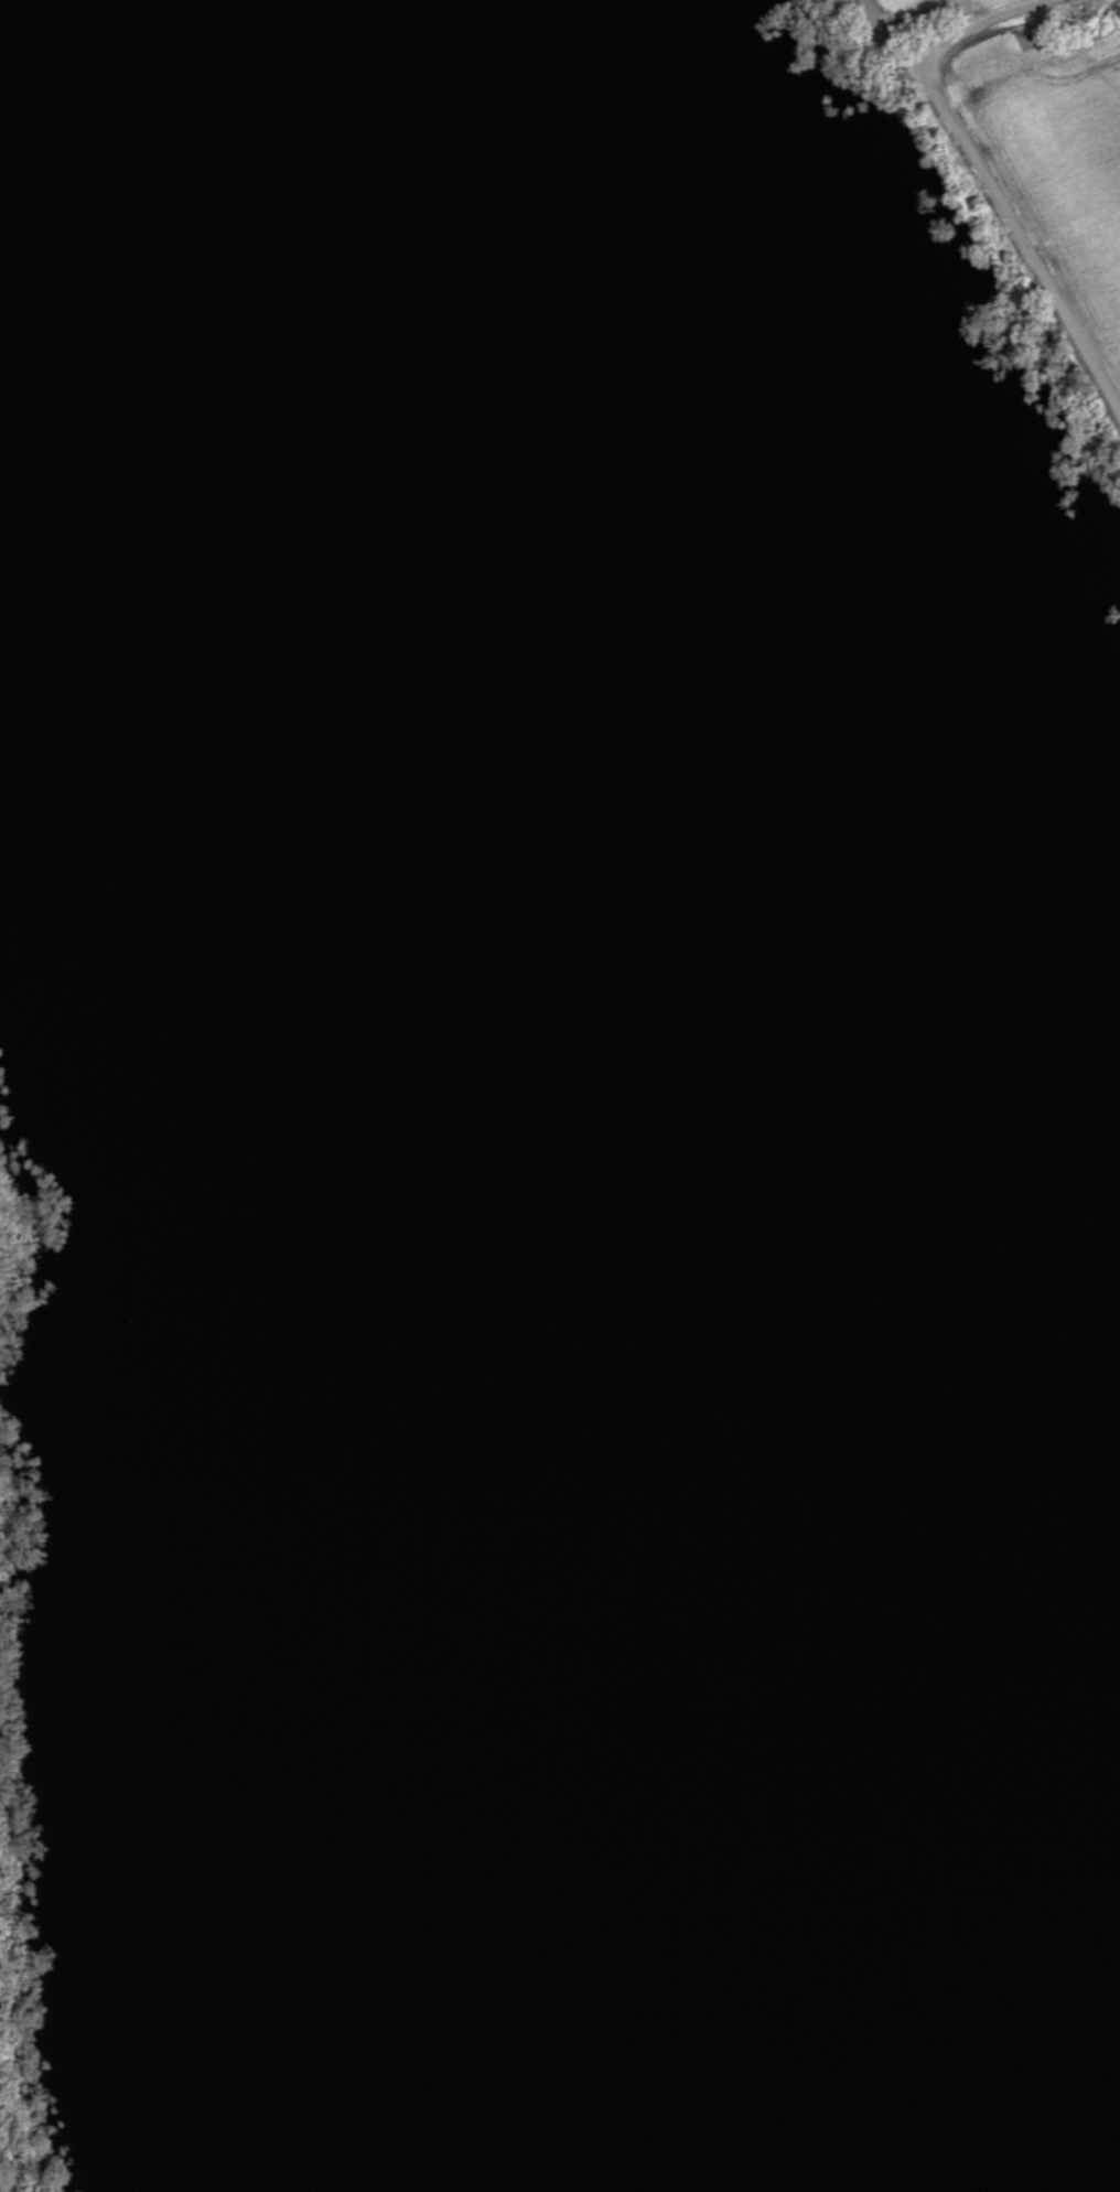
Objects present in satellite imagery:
road: (882, 37)
road: (982, 173)

